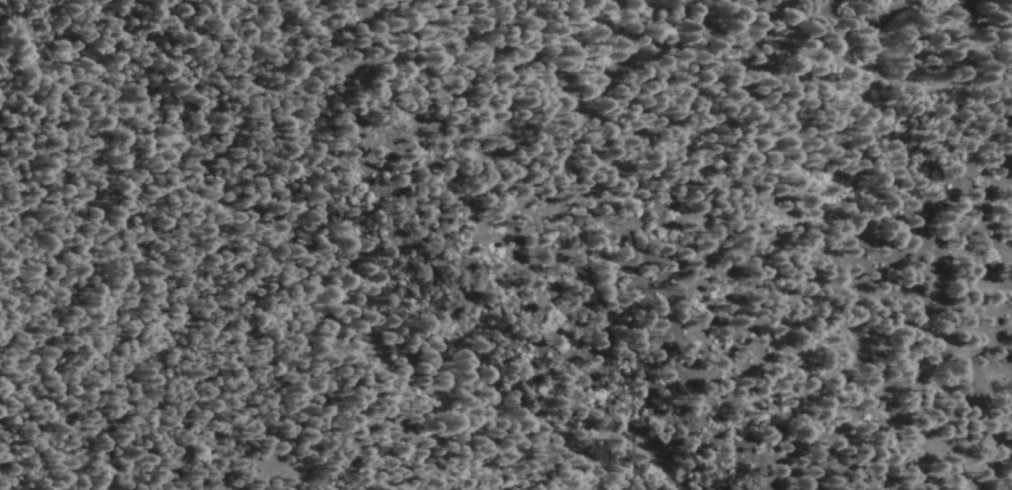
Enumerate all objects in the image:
road: (827, 5)
road: (752, 9)
road: (898, 79)
road: (124, 229)
road: (882, 340)
road: (639, 442)
road: (582, 465)

